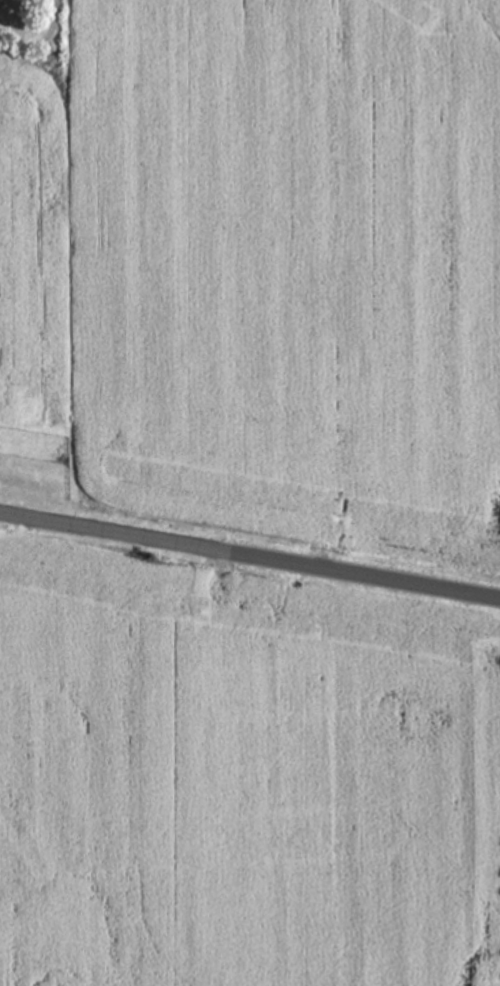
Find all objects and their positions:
road: (250, 550)

